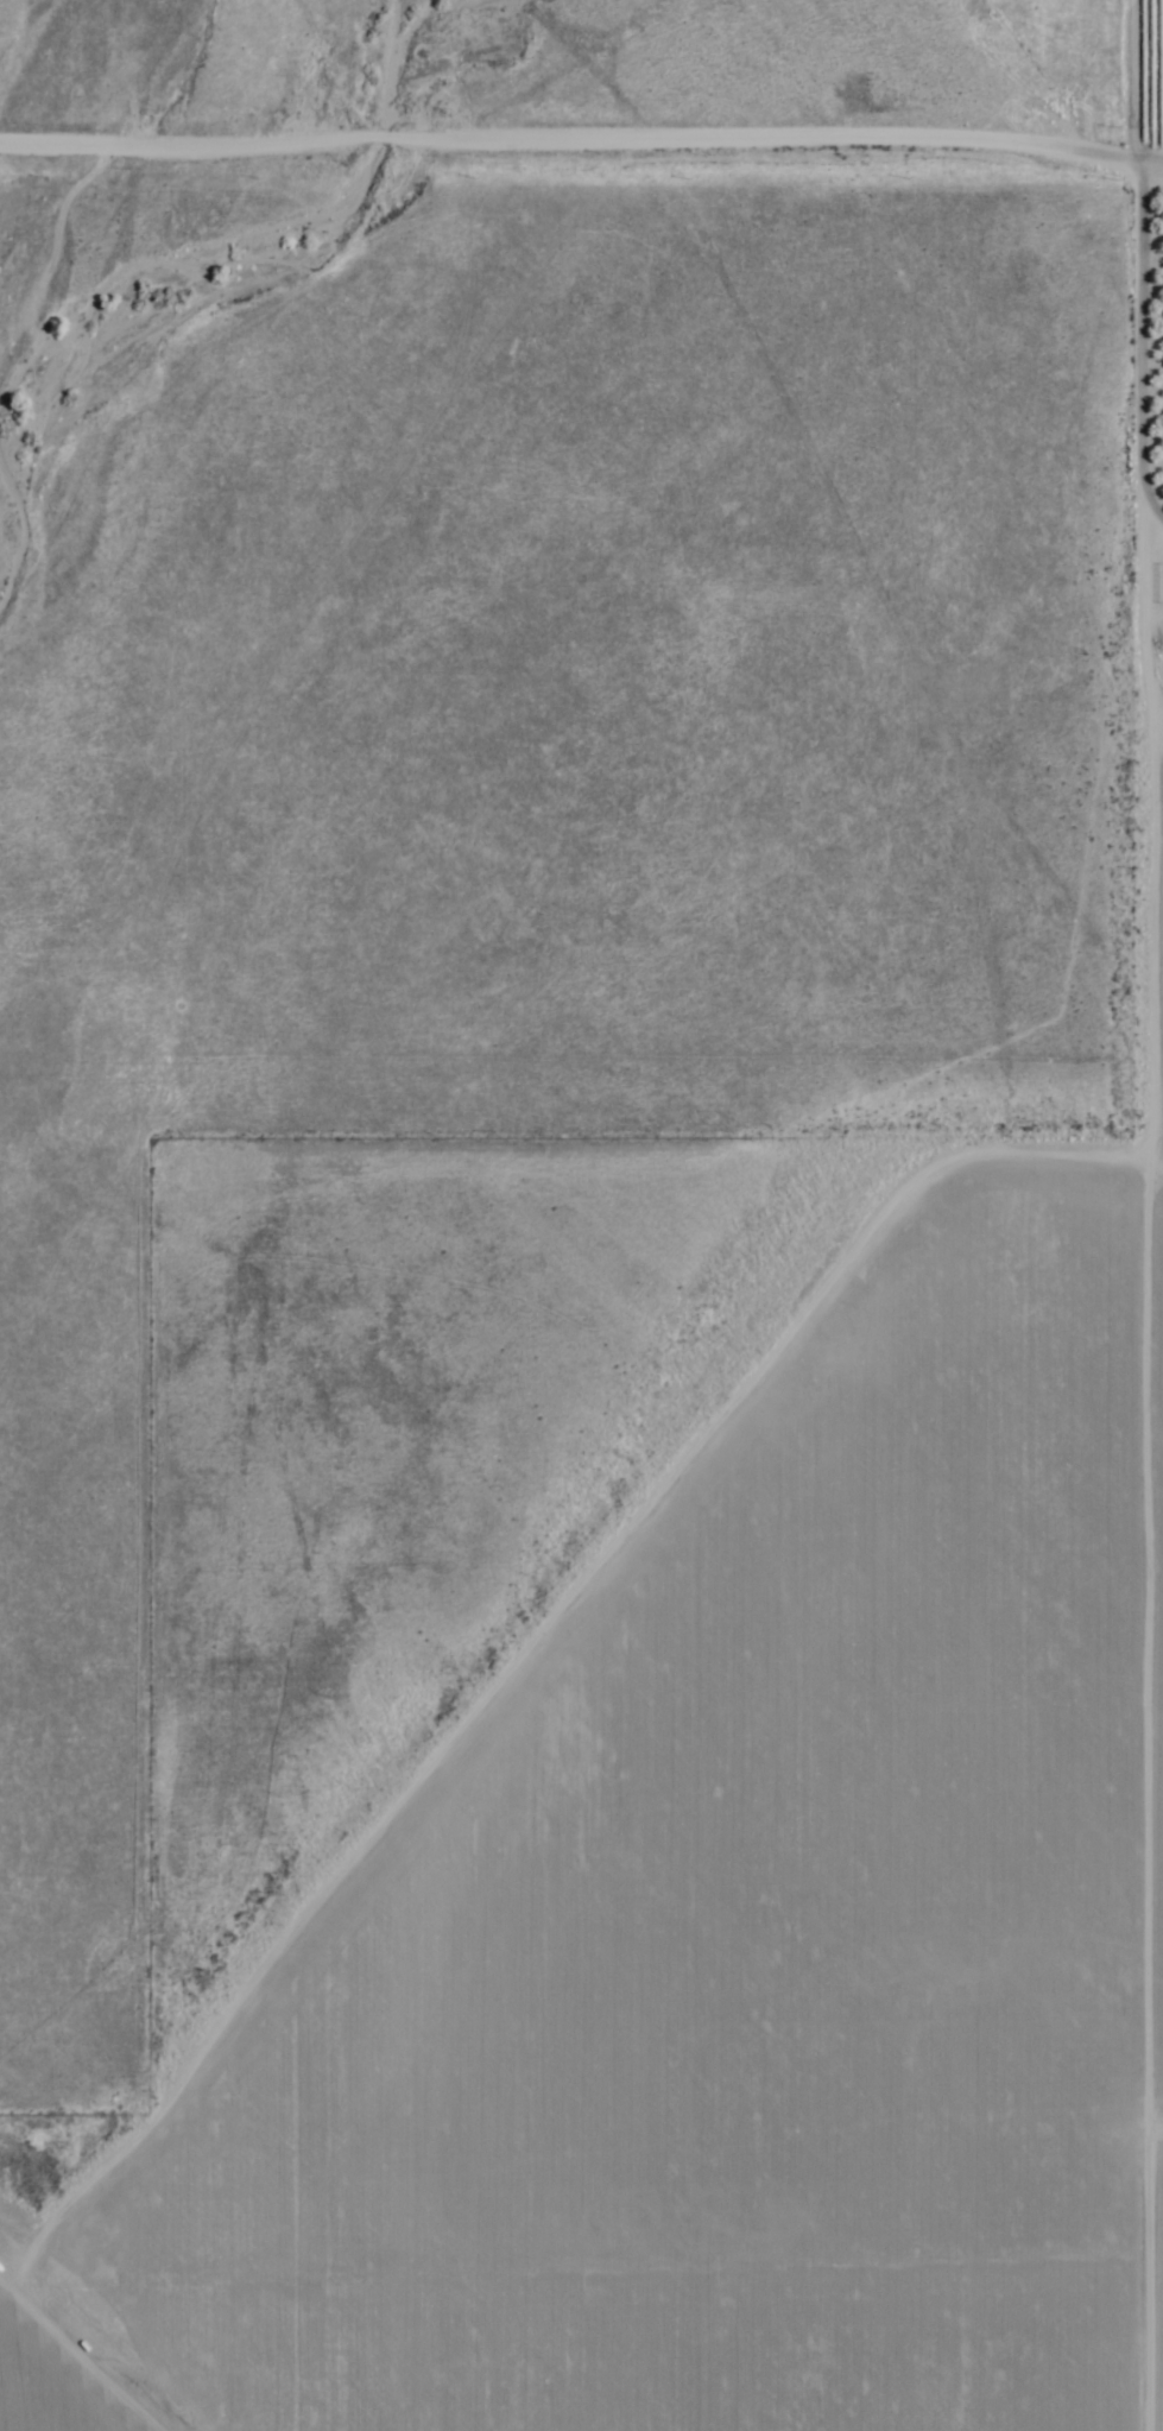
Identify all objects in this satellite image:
crop: (1151, 80)
road: (1086, 101)
crop: (809, 1896)

